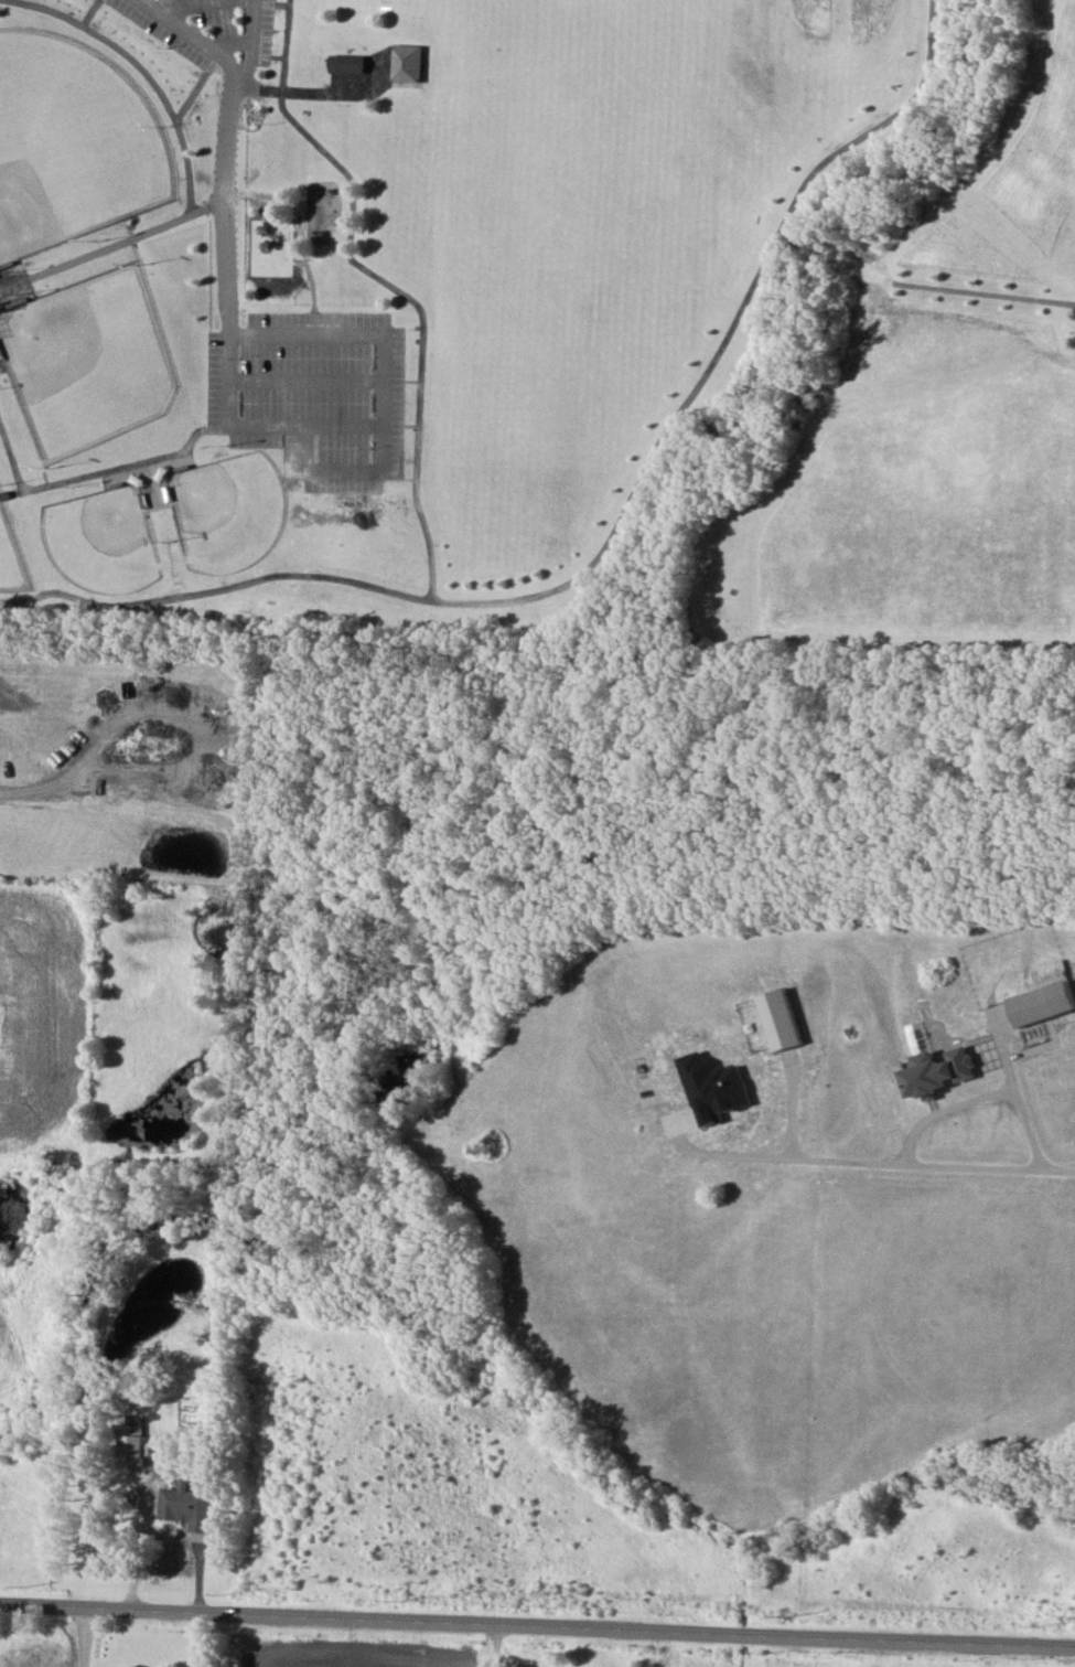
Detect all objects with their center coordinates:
road: (185, 4)
parking lot: (211, 30)
road: (250, 41)
road: (232, 42)
building: (410, 63)
building: (351, 64)
park: (74, 143)
road: (224, 189)
road: (795, 245)
road: (111, 246)
road: (821, 255)
road: (952, 290)
road: (724, 346)
park: (504, 356)
park: (92, 362)
parking lot: (329, 398)
road: (418, 489)
park: (228, 512)
park: (109, 541)
park: (13, 553)
road: (44, 787)
building: (1044, 1003)
building: (783, 1019)
building: (940, 1071)
building: (714, 1086)
road: (986, 1097)
road: (877, 1161)
crop: (663, 1198)
crop: (939, 1324)
building: (135, 1440)
building: (189, 1507)
road: (537, 1616)
road: (85, 1634)

